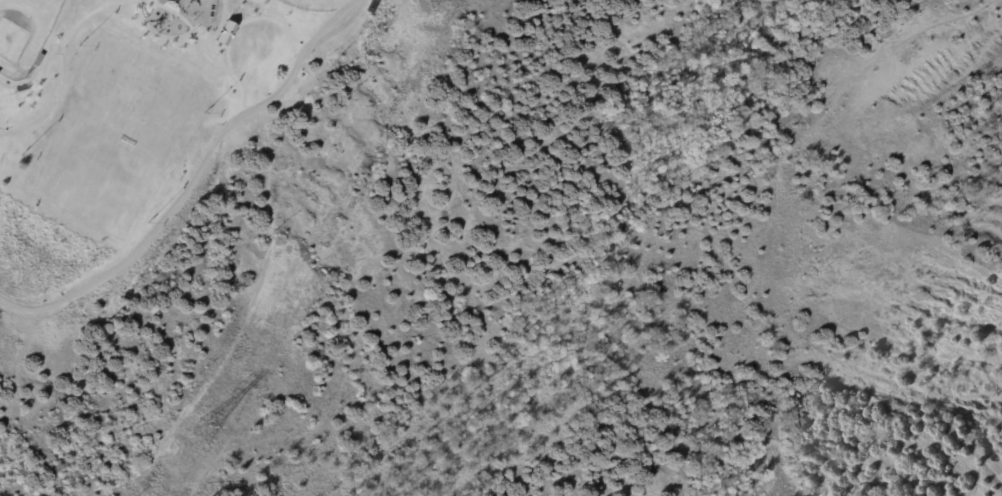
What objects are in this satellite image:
park: (23, 30)
park: (119, 128)
park: (283, 216)
power tower: (208, 431)

